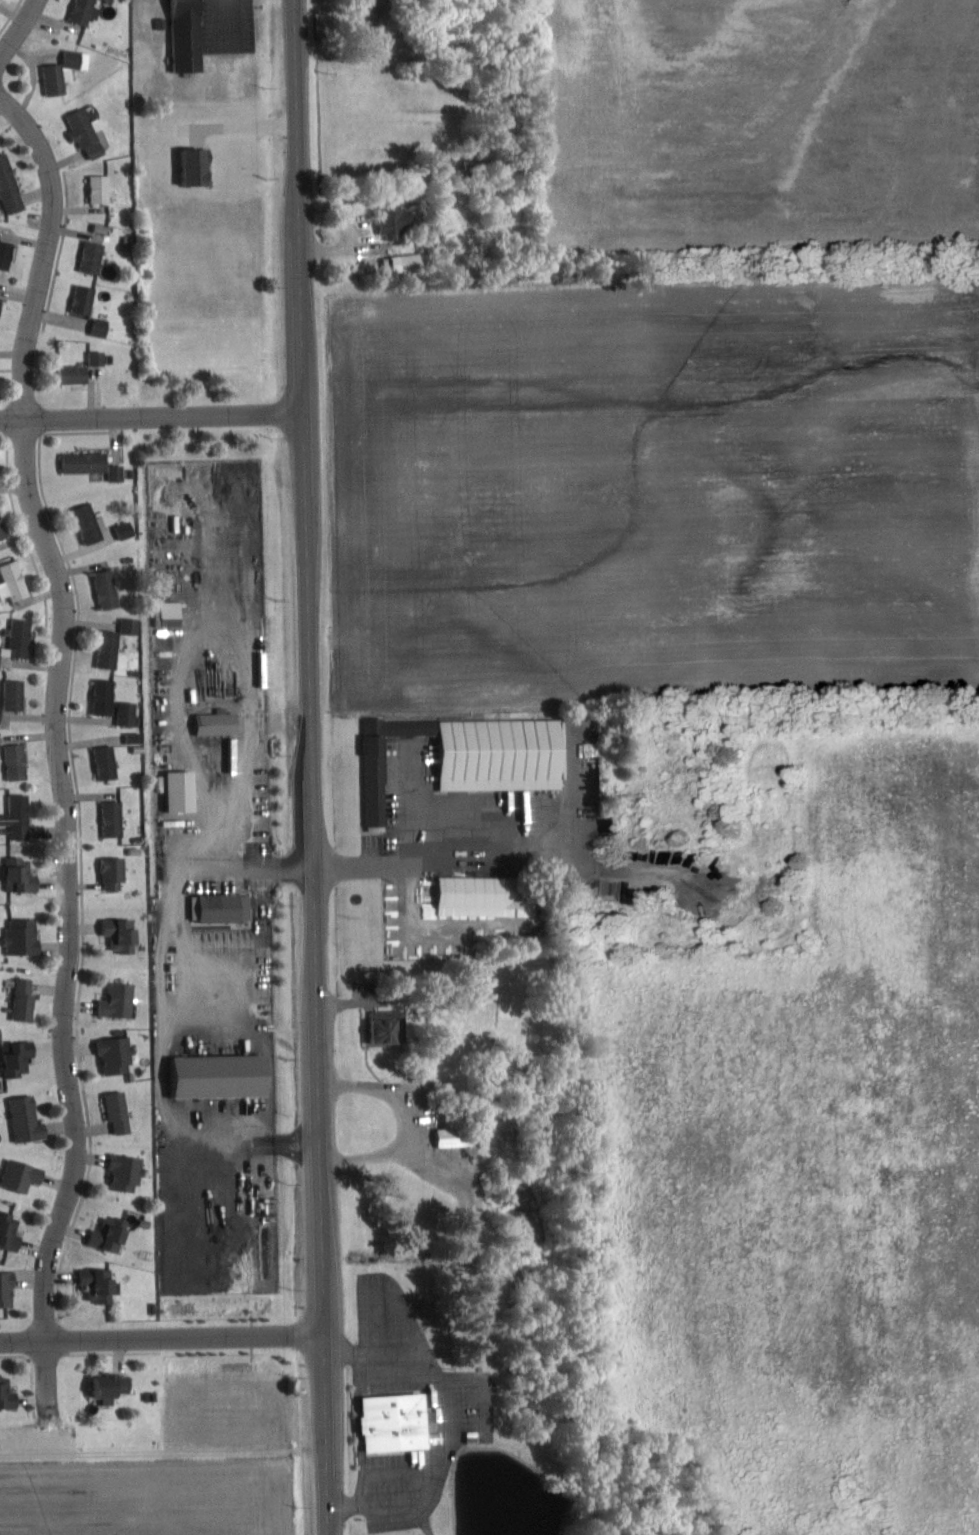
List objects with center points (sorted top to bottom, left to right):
building: (377, 6)
building: (85, 11)
road: (19, 30)
building: (190, 35)
building: (89, 133)
building: (199, 166)
building: (102, 189)
building: (399, 219)
building: (7, 254)
building: (94, 257)
building: (410, 262)
building: (390, 263)
building: (86, 299)
building: (1, 308)
building: (103, 327)
building: (99, 358)
building: (77, 374)
road: (153, 416)
building: (88, 462)
building: (119, 472)
building: (90, 523)
building: (3, 526)
building: (128, 530)
building: (15, 581)
building: (109, 589)
building: (132, 626)
building: (24, 638)
building: (110, 649)
building: (4, 655)
building: (17, 695)
building: (106, 696)
building: (129, 713)
building: (2, 714)
building: (220, 723)
building: (137, 737)
road: (63, 743)
building: (475, 756)
building: (19, 762)
building: (109, 762)
road: (315, 767)
building: (184, 791)
building: (23, 818)
building: (115, 819)
building: (116, 872)
building: (24, 874)
building: (487, 895)
building: (224, 906)
building: (123, 933)
building: (25, 935)
building: (26, 999)
building: (120, 1000)
park: (832, 1022)
building: (390, 1025)
building: (118, 1054)
building: (22, 1058)
building: (222, 1075)
building: (121, 1110)
building: (29, 1118)
road: (407, 1122)
building: (457, 1136)
building: (129, 1171)
building: (24, 1174)
building: (11, 1230)
building: (113, 1233)
building: (102, 1283)
building: (8, 1288)
road: (163, 1341)
building: (113, 1386)
building: (9, 1392)
building: (398, 1422)

